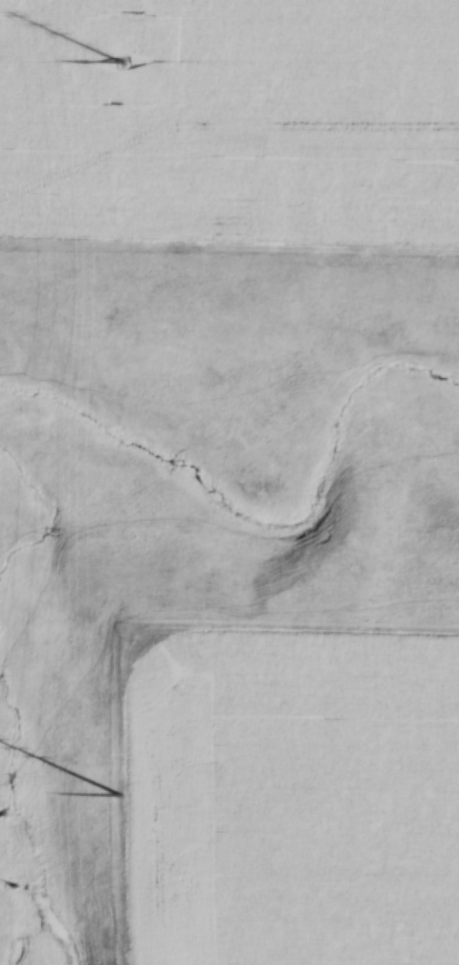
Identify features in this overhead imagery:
power tower: (123, 56)
power tower: (122, 796)

